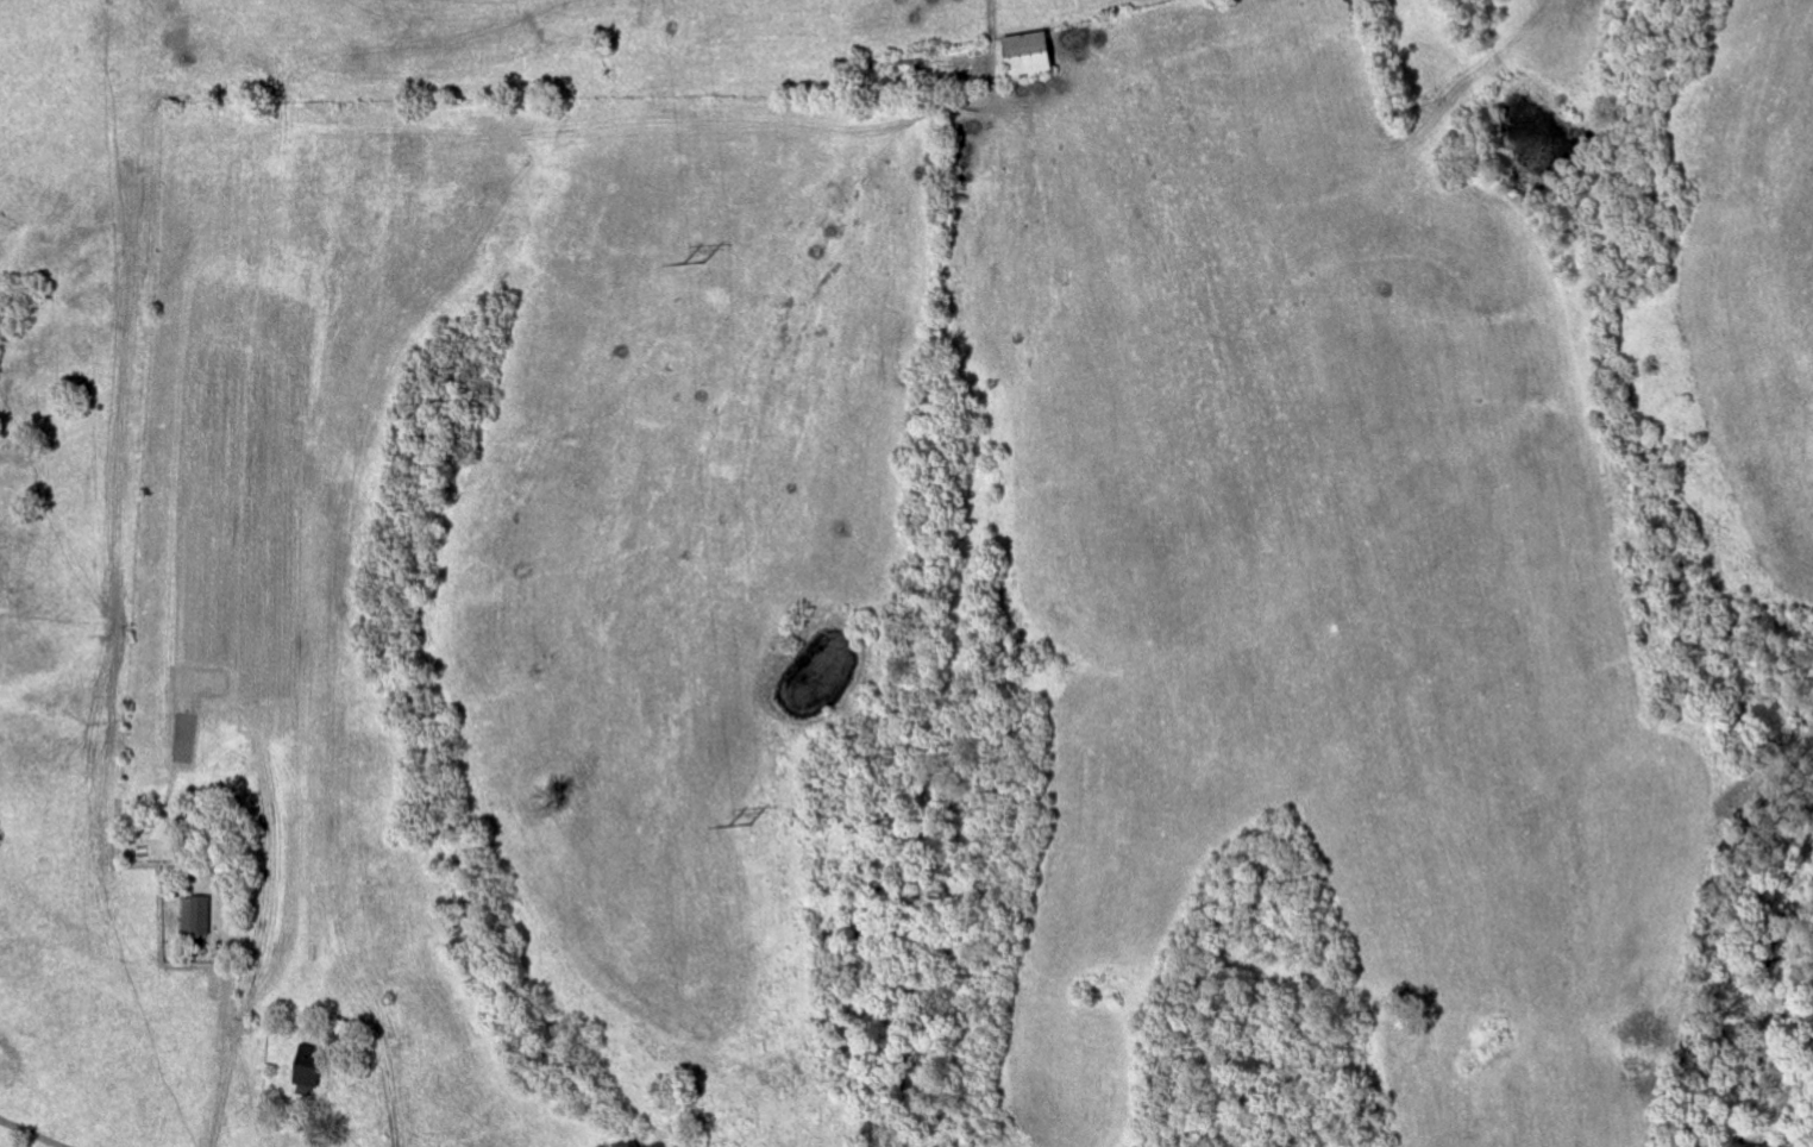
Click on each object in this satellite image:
building: (1031, 56)
power tower: (692, 259)
power tower: (739, 823)
building: (197, 916)
building: (309, 1067)
road: (33, 1133)

